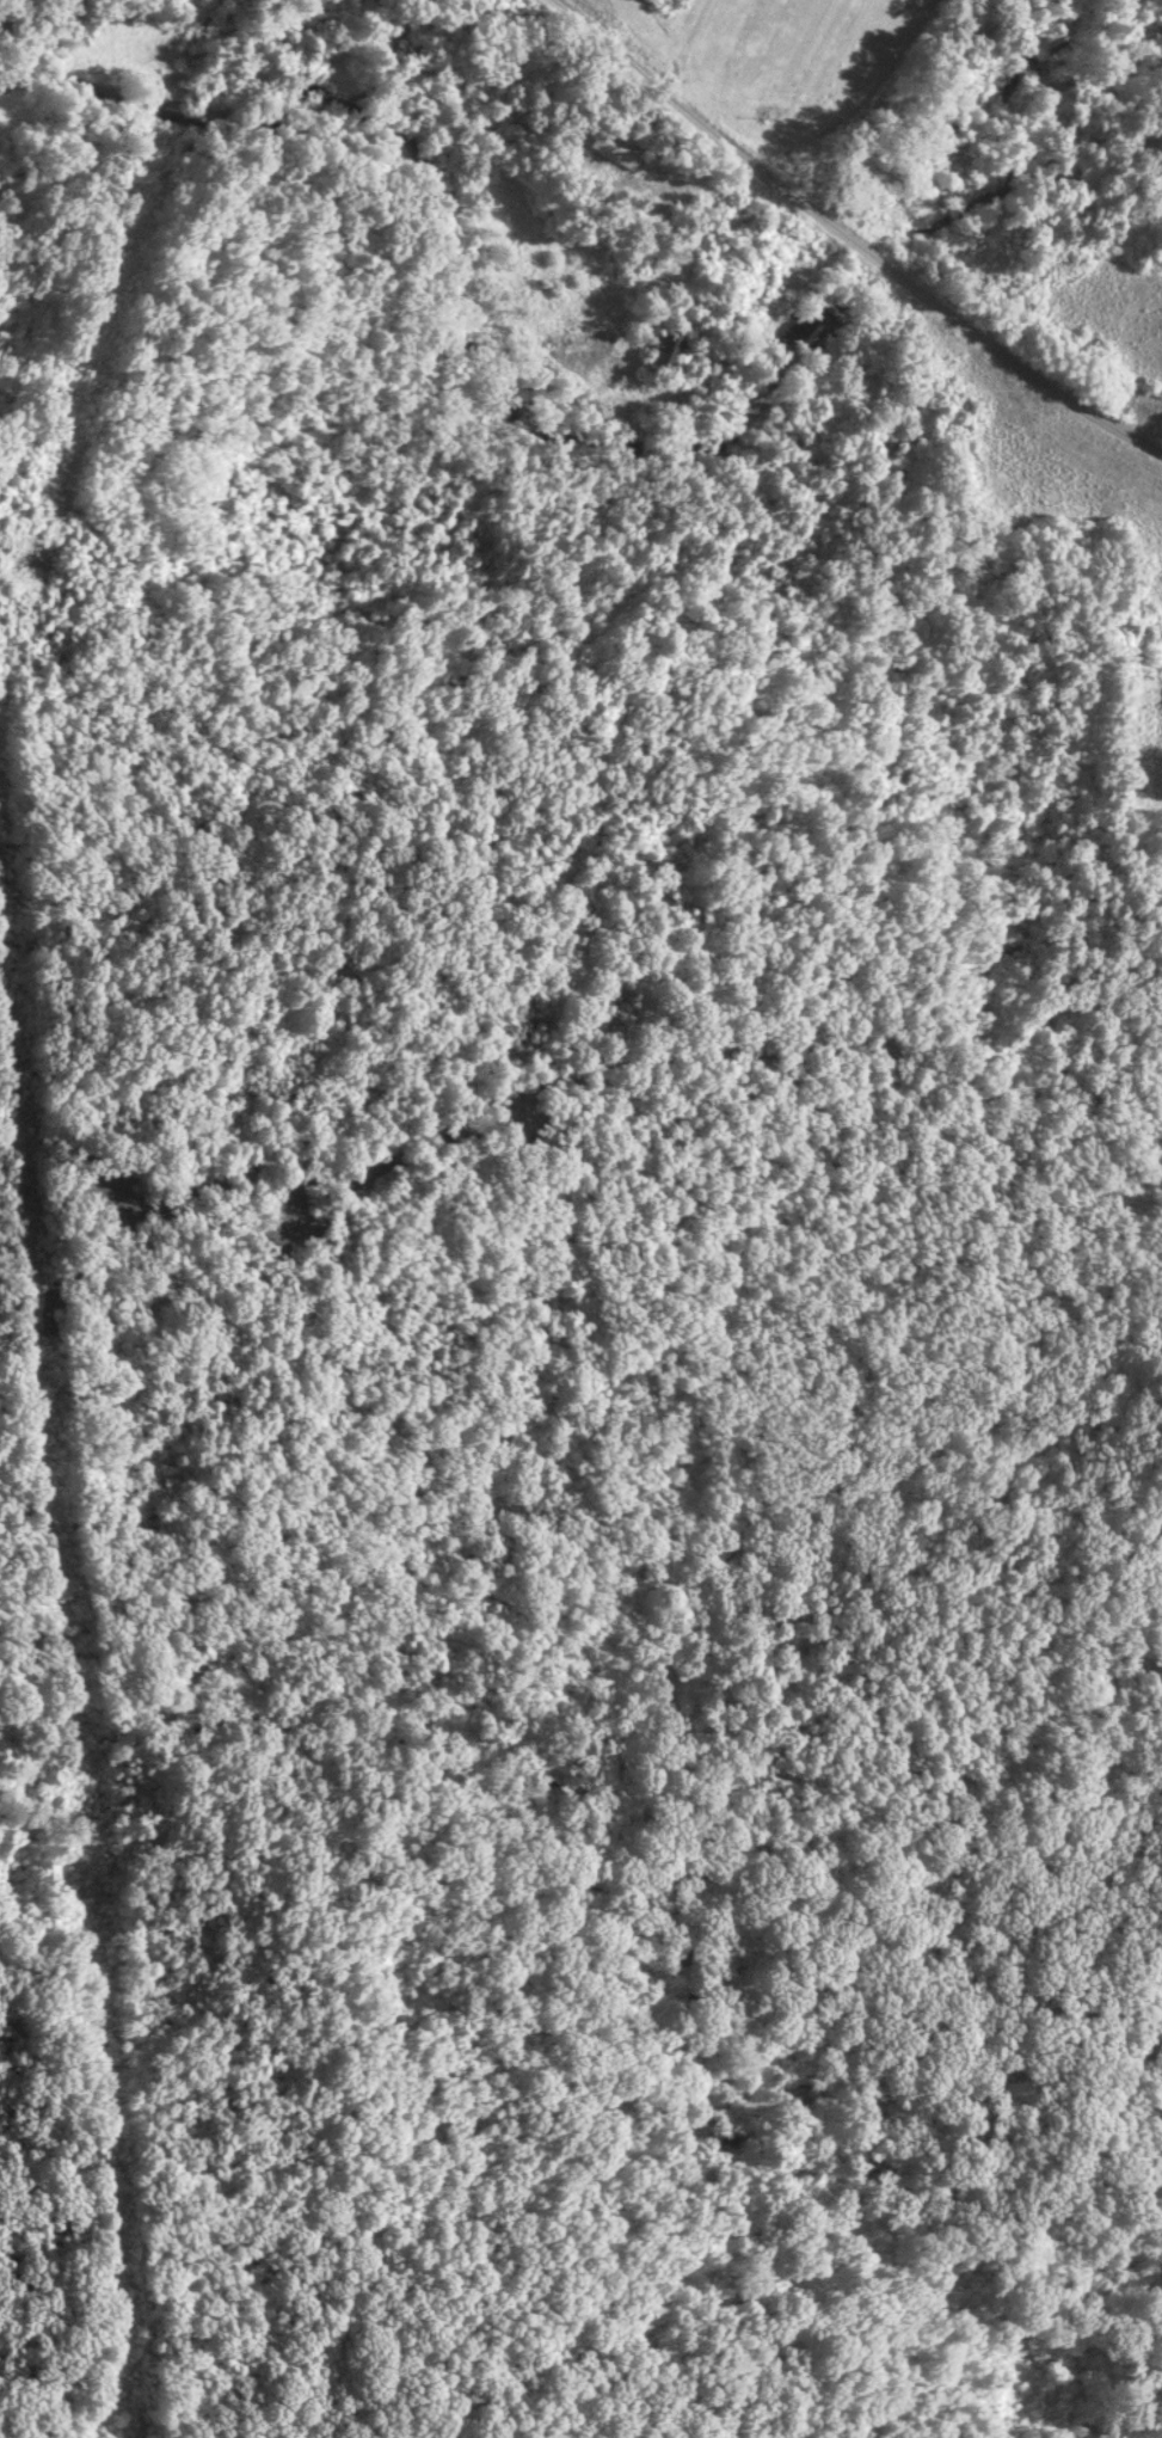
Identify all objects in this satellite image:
road: (844, 242)
road: (773, 308)
building: (668, 350)
road: (51, 492)
road: (17, 608)
road: (277, 749)
road: (645, 1058)
road: (63, 1701)
road: (127, 2377)

